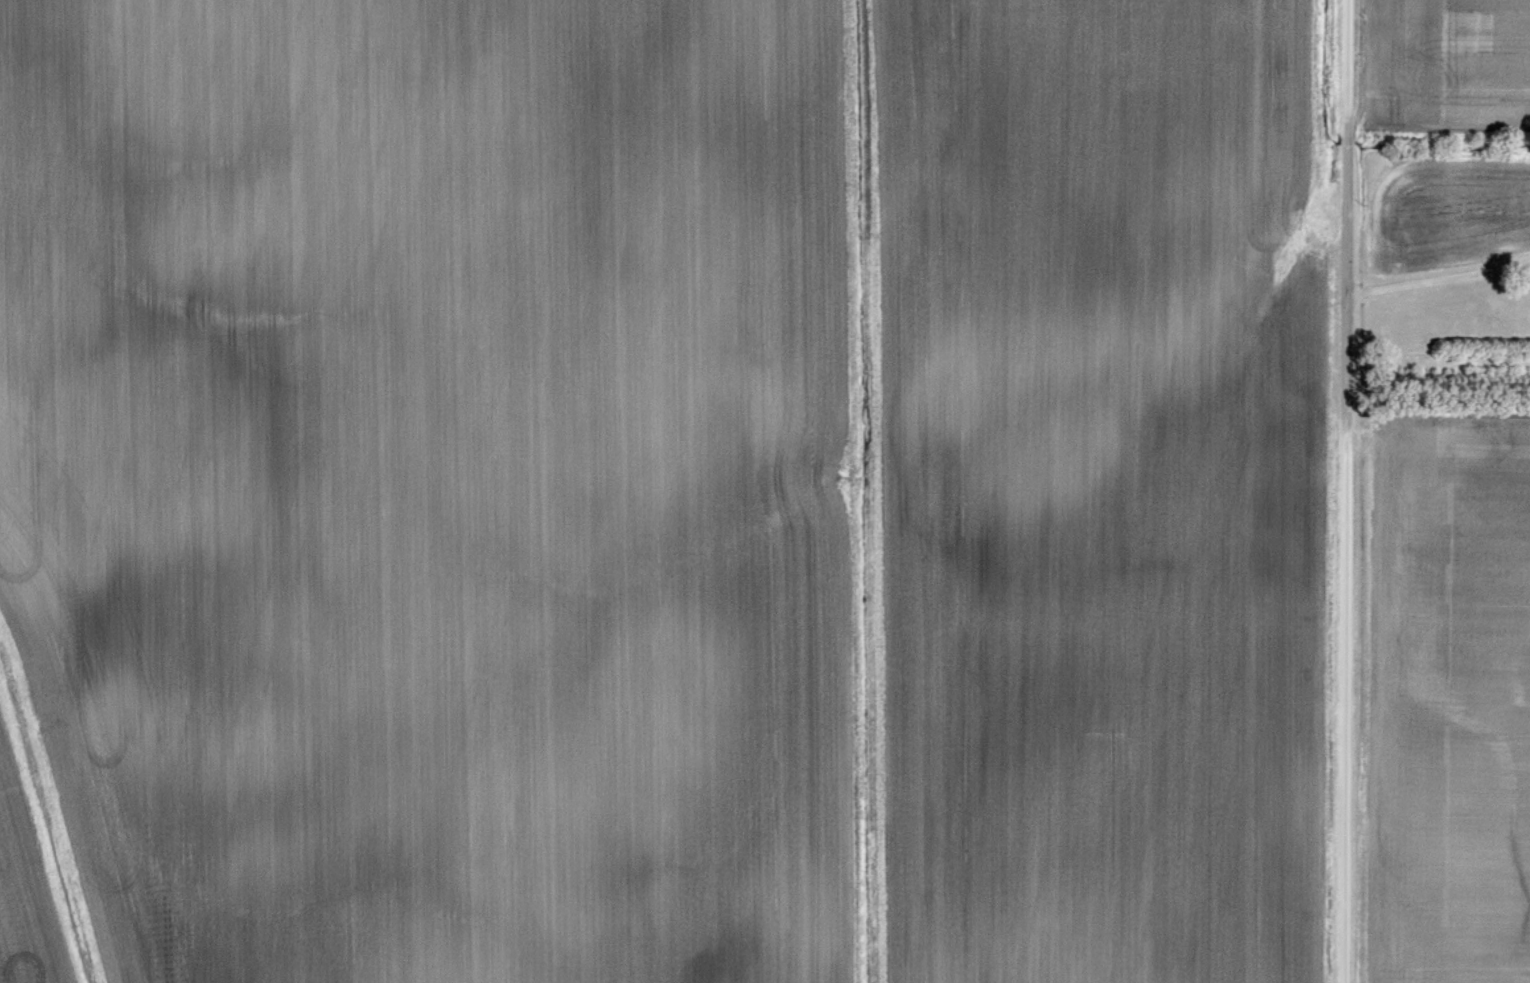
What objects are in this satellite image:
road: (1439, 282)
road: (1346, 491)

